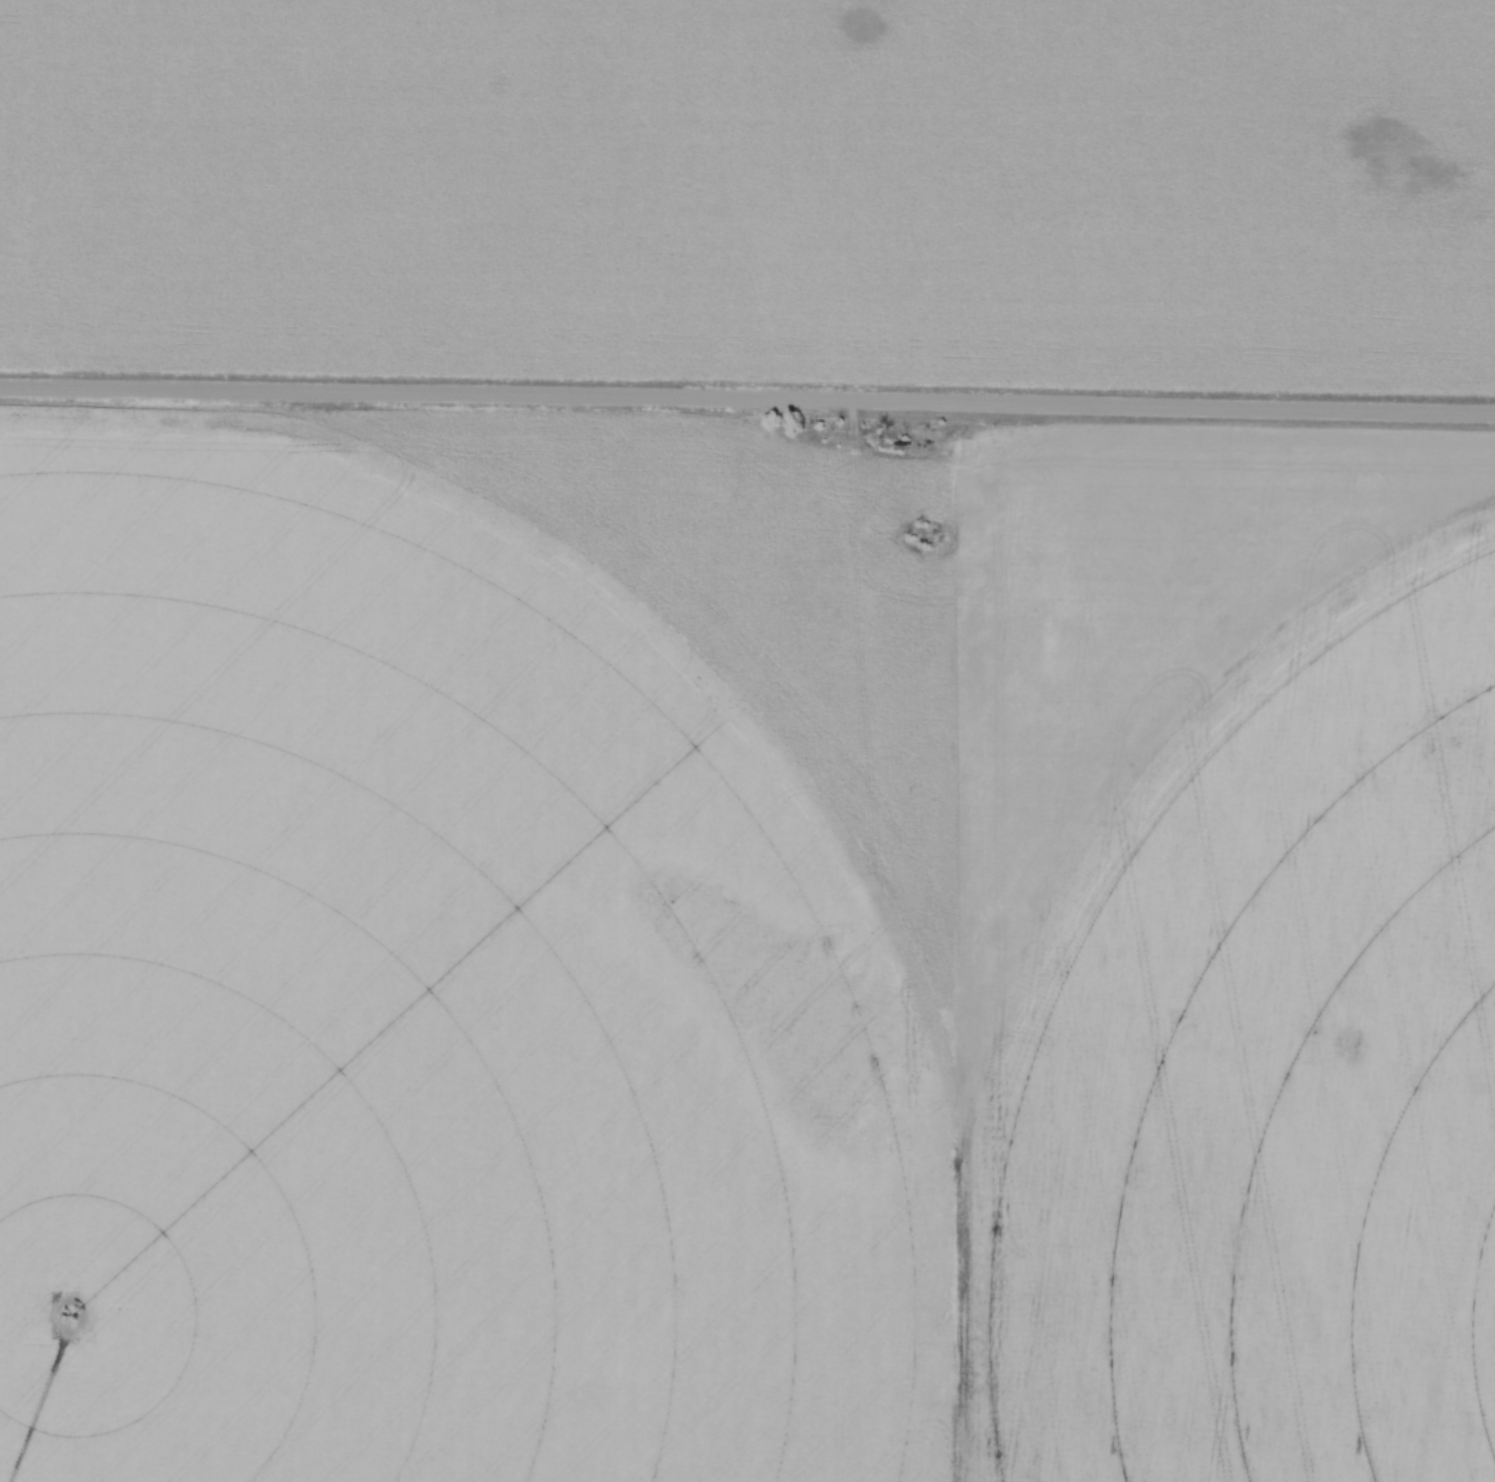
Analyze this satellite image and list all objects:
crop: (755, 172)
road: (747, 404)
crop: (743, 953)

